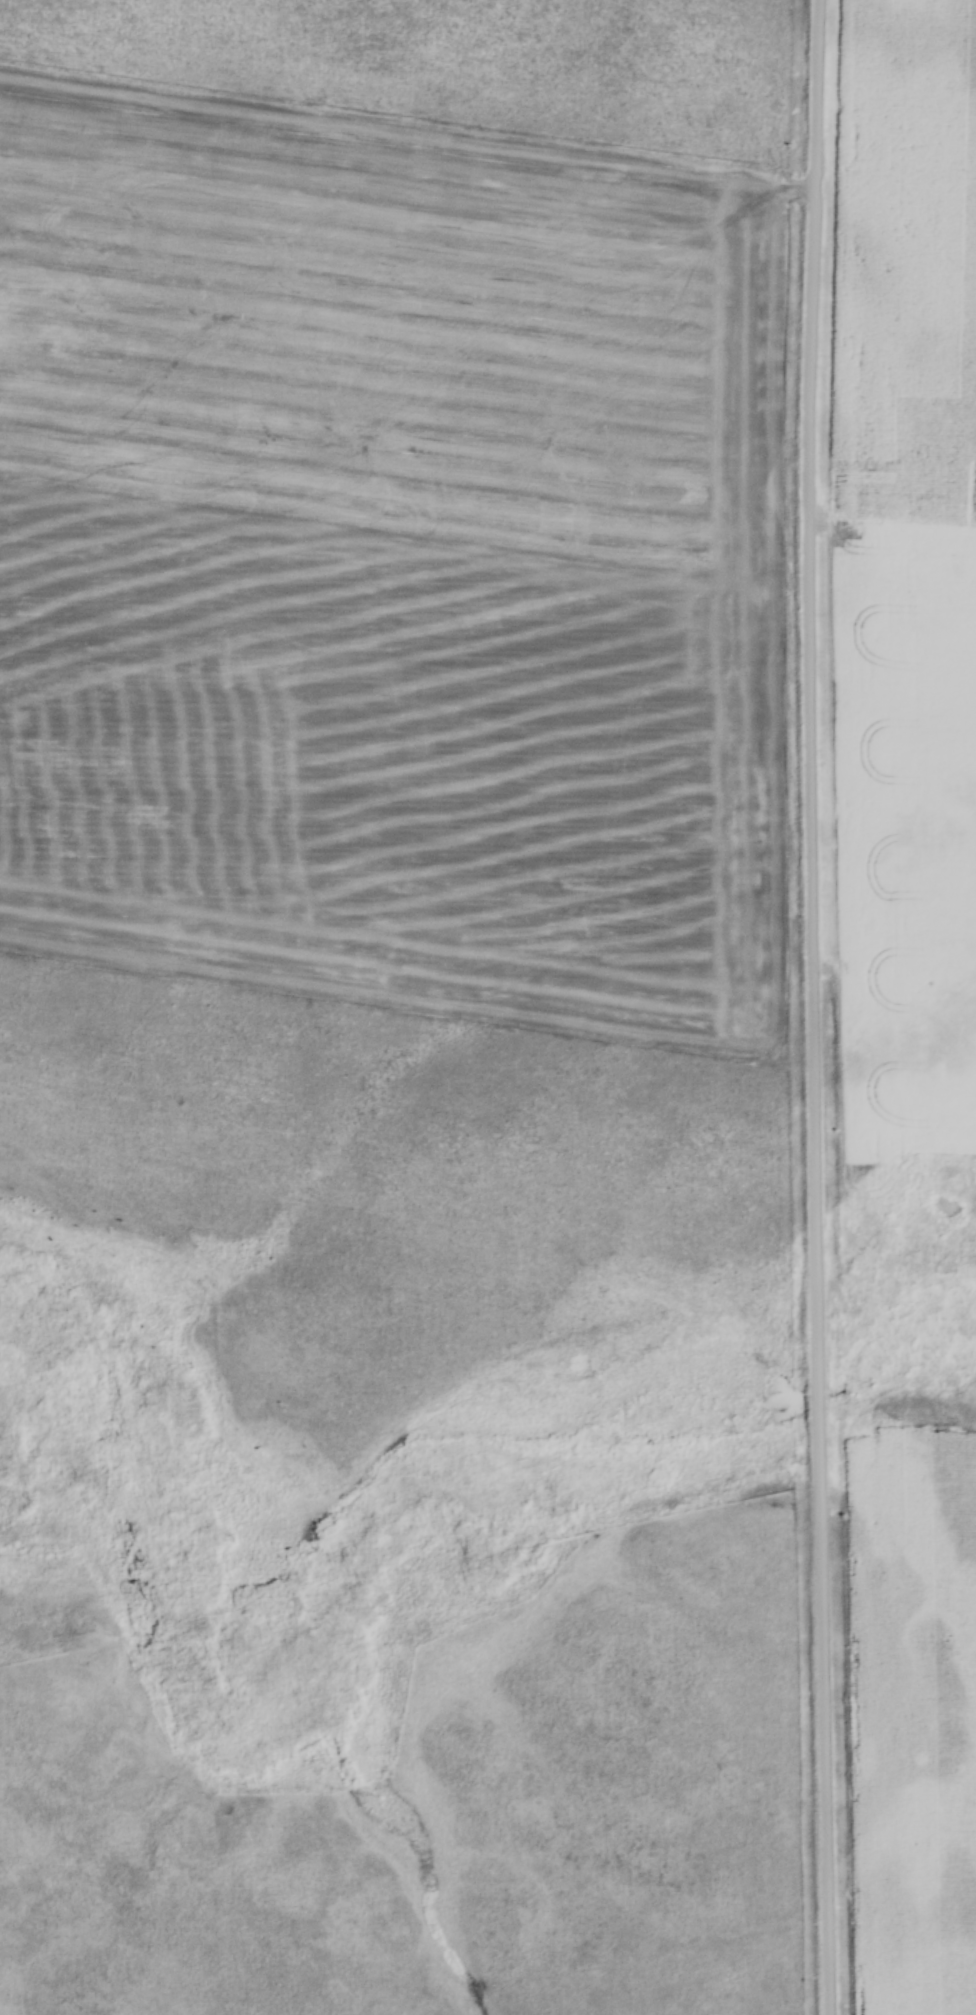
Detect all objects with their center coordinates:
road: (811, 1007)

